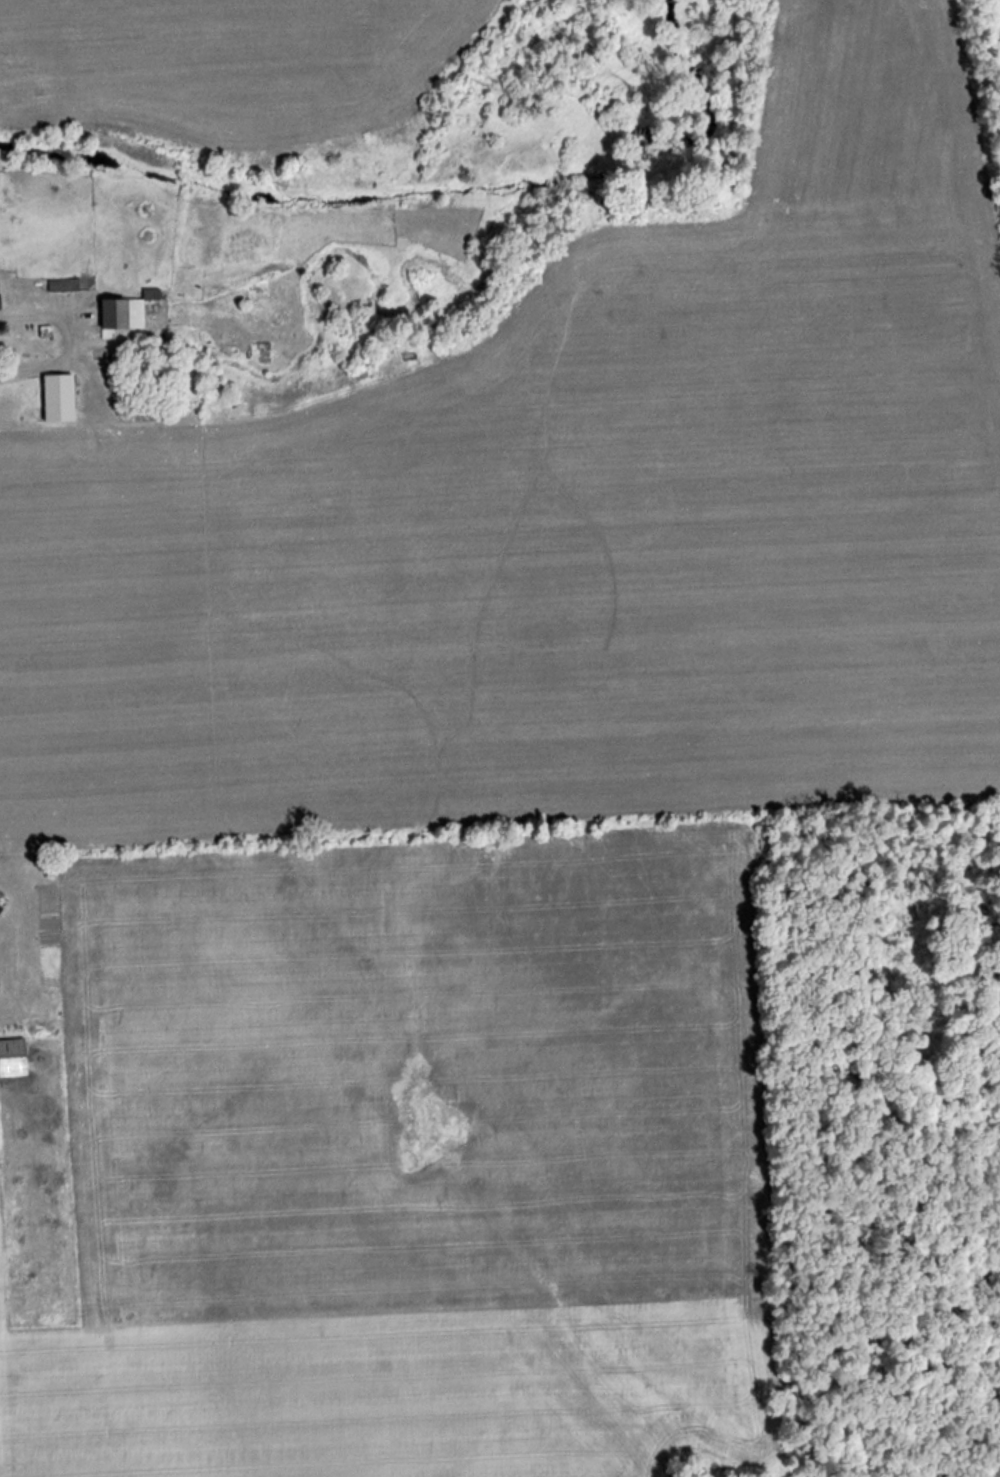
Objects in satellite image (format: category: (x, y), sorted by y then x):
crop: (227, 58)
building: (1, 303)
building: (129, 312)
building: (61, 398)
building: (1, 909)
building: (14, 1058)

